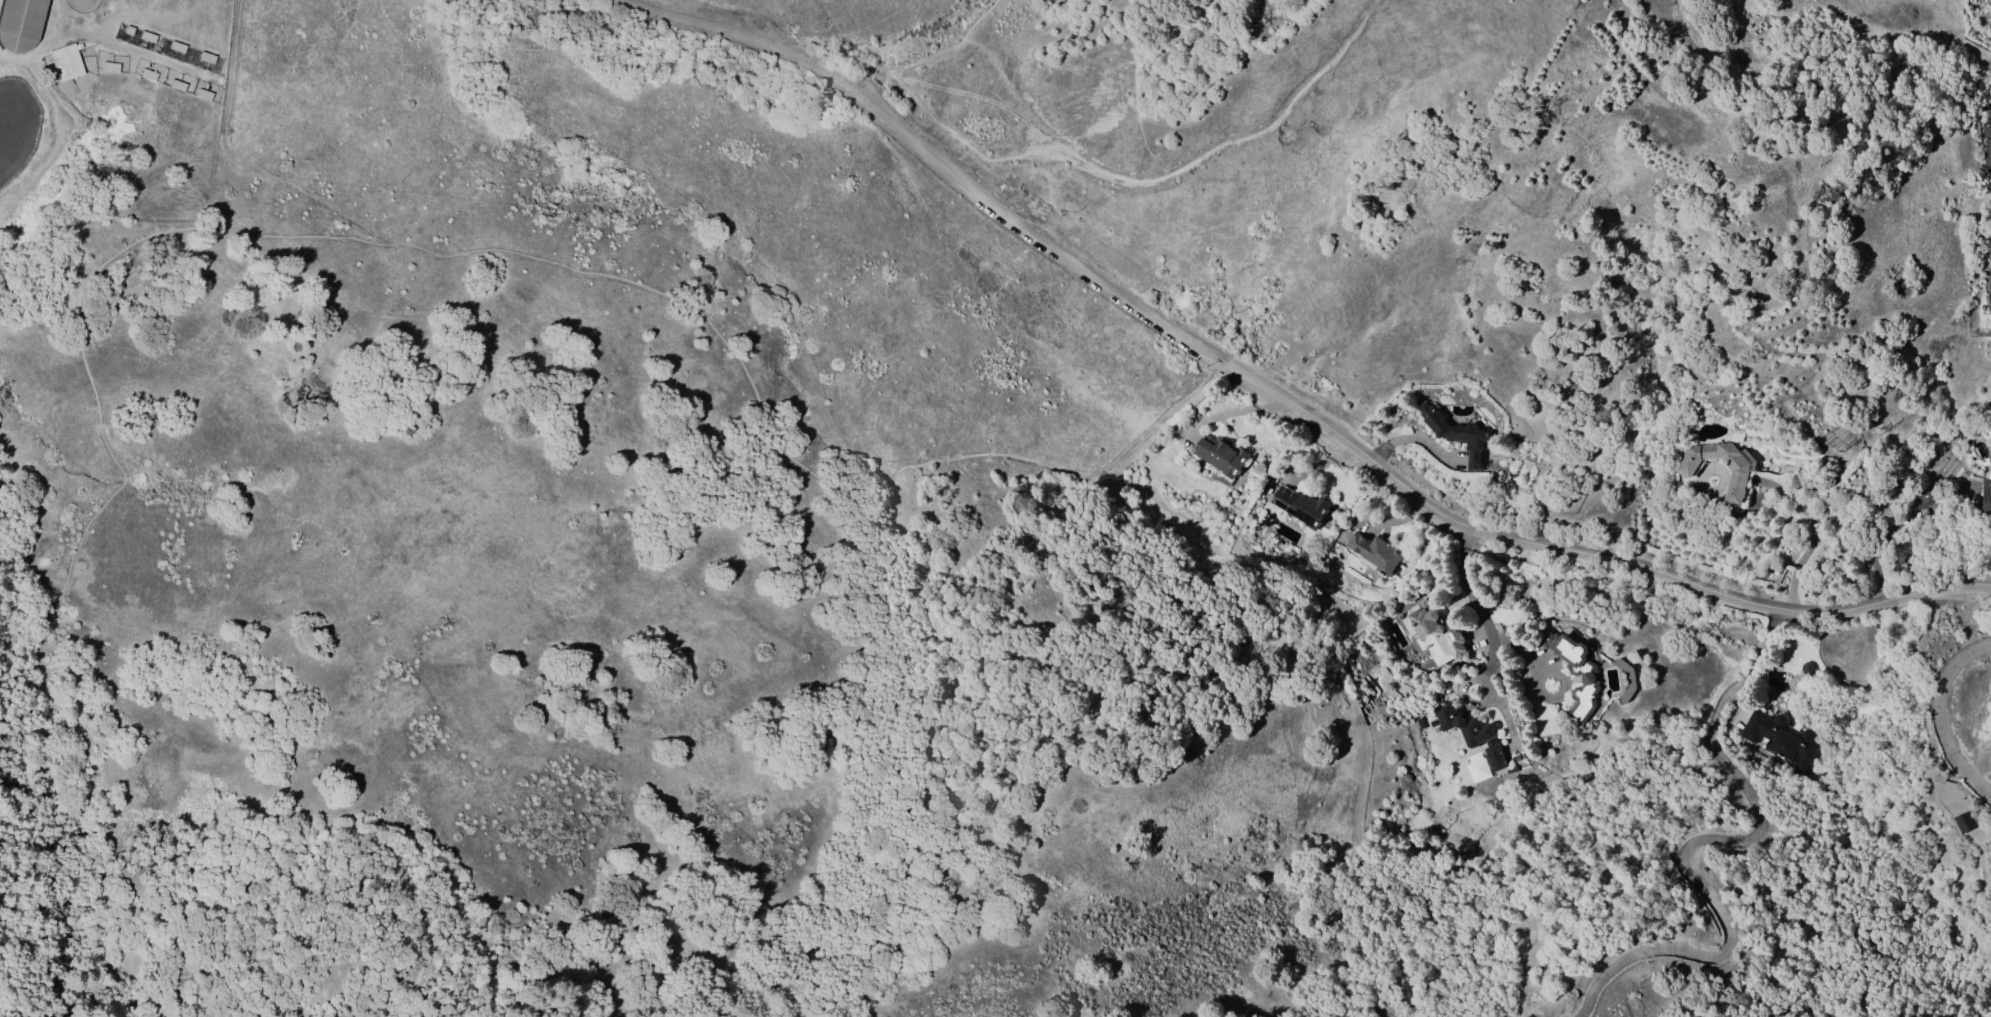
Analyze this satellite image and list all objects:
building: (19, 23)
road: (749, 39)
road: (951, 48)
building: (65, 60)
road: (873, 83)
road: (1147, 84)
building: (1987, 139)
road: (242, 157)
road: (1147, 175)
road: (1034, 237)
road: (331, 238)
building: (1455, 433)
building: (1221, 454)
road: (1099, 465)
building: (1739, 474)
building: (1986, 494)
building: (1925, 495)
building: (1301, 506)
road: (1819, 535)
building: (1375, 551)
road: (1584, 553)
building: (1299, 556)
road: (1605, 580)
road: (1474, 618)
building: (1870, 631)
building: (1435, 632)
building: (1807, 669)
building: (1575, 671)
road: (998, 704)
road: (1941, 719)
road: (1732, 723)
building: (1473, 733)
building: (1780, 740)
road: (1979, 756)
building: (1476, 766)
building: (1963, 821)
road: (1702, 841)
road: (484, 945)

